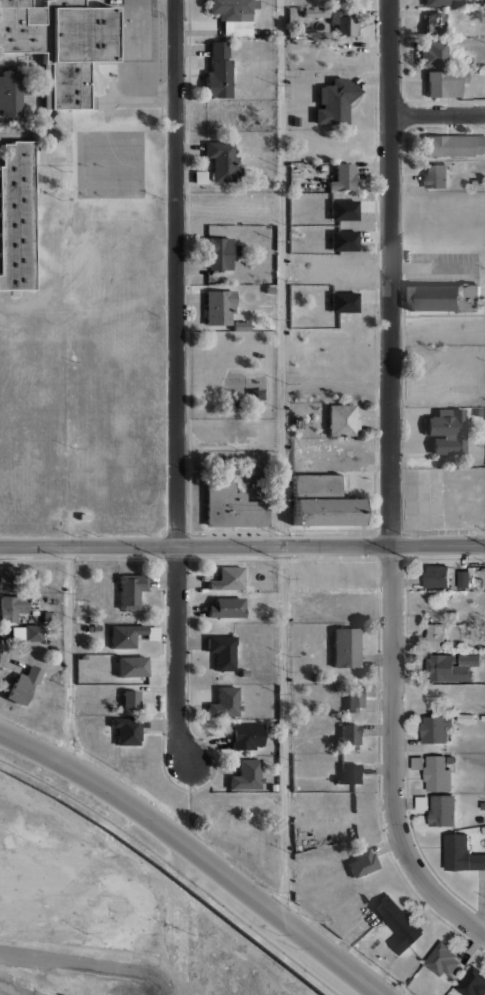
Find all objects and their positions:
building: (345, 1)
building: (443, 2)
building: (231, 7)
building: (315, 12)
building: (434, 24)
building: (345, 25)
building: (236, 27)
building: (264, 33)
building: (270, 34)
building: (60, 44)
building: (218, 49)
building: (433, 53)
building: (482, 71)
building: (218, 78)
building: (445, 82)
building: (10, 93)
building: (335, 101)
road: (437, 113)
building: (295, 121)
building: (454, 145)
building: (222, 160)
building: (320, 167)
building: (66, 173)
building: (436, 176)
building: (200, 177)
building: (343, 177)
building: (267, 183)
building: (478, 185)
building: (17, 216)
building: (221, 252)
road: (280, 285)
building: (269, 289)
building: (443, 296)
building: (219, 306)
building: (240, 325)
building: (269, 325)
building: (432, 359)
road: (174, 380)
building: (257, 394)
building: (480, 411)
building: (341, 419)
building: (297, 422)
building: (446, 430)
parking lot: (224, 431)
parking lot: (333, 455)
road: (281, 458)
building: (316, 483)
road: (391, 484)
parking lot: (422, 498)
building: (232, 506)
building: (327, 512)
building: (82, 516)
road: (242, 544)
parking lot: (332, 575)
building: (436, 577)
building: (10, 578)
building: (227, 578)
building: (463, 579)
building: (413, 583)
building: (419, 583)
building: (127, 593)
building: (12, 609)
building: (46, 615)
road: (325, 627)
building: (469, 628)
building: (33, 632)
building: (436, 636)
building: (121, 638)
building: (346, 646)
building: (221, 650)
road: (71, 655)
building: (469, 662)
building: (133, 668)
building: (448, 670)
building: (22, 685)
building: (354, 697)
building: (134, 698)
building: (226, 700)
building: (483, 718)
building: (465, 719)
building: (128, 730)
building: (438, 732)
building: (352, 735)
building: (246, 736)
building: (348, 773)
building: (441, 773)
building: (247, 776)
building: (443, 814)
building: (462, 850)
road: (197, 853)
building: (365, 861)
building: (398, 924)
building: (442, 961)
building: (471, 983)

